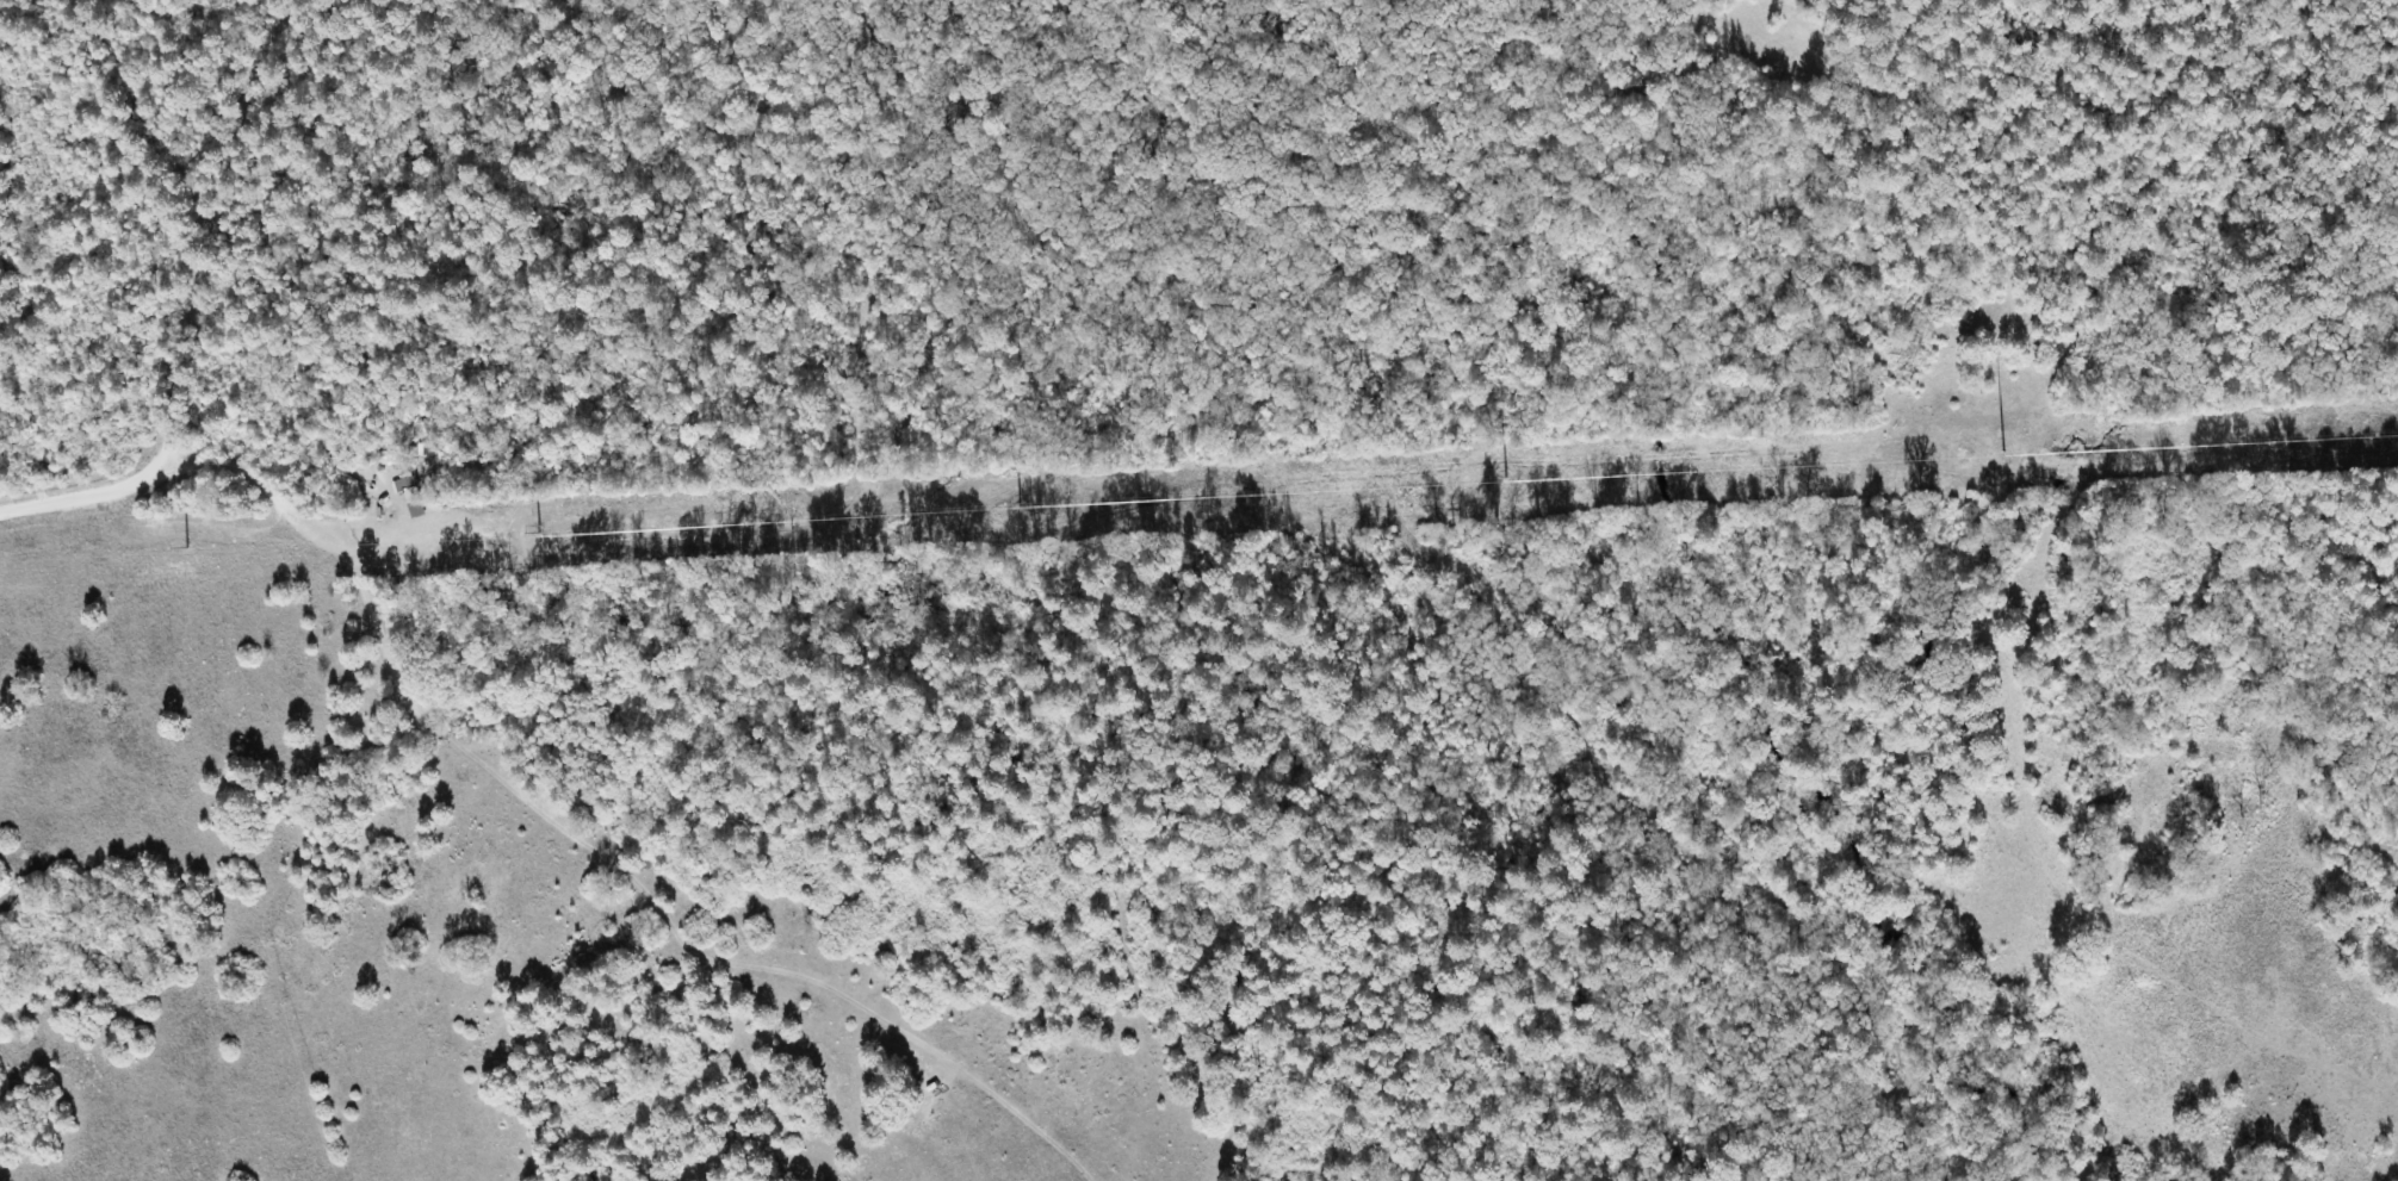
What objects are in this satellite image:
road: (230, 210)
power tower: (2382, 435)
road: (93, 459)
power tower: (1965, 459)
power tower: (1480, 486)
power tower: (1023, 510)
power tower: (549, 535)
power tower: (193, 553)
road: (354, 555)

